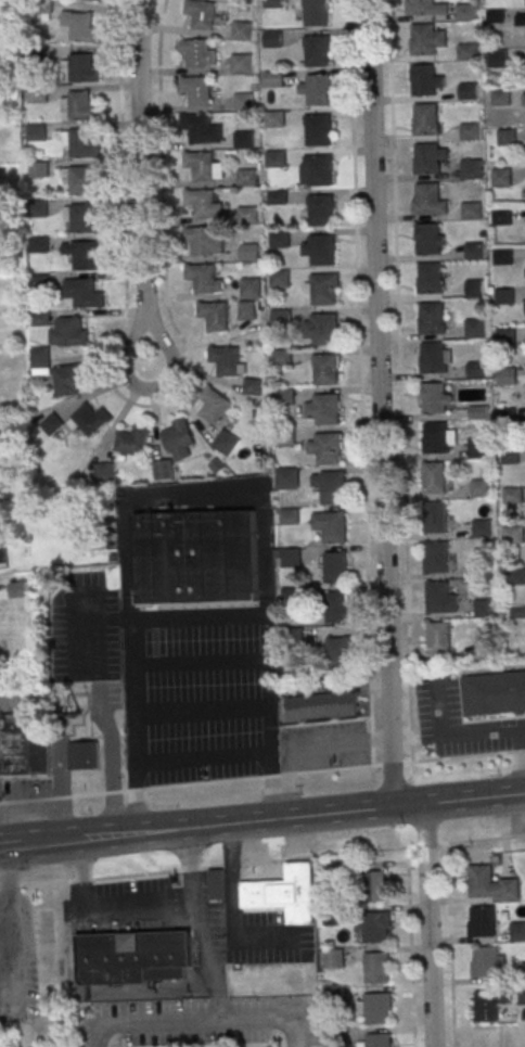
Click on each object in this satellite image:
building: (102, 0)
building: (242, 1)
building: (524, 2)
building: (272, 4)
building: (42, 7)
building: (425, 8)
building: (465, 12)
building: (316, 13)
building: (201, 14)
building: (495, 16)
building: (520, 18)
building: (82, 28)
building: (241, 31)
building: (427, 39)
building: (272, 40)
building: (317, 51)
building: (468, 52)
building: (36, 53)
building: (195, 53)
building: (497, 59)
building: (241, 65)
building: (82, 68)
building: (273, 80)
building: (425, 80)
building: (318, 89)
building: (196, 90)
building: (468, 91)
building: (37, 94)
building: (500, 98)
building: (243, 102)
building: (81, 106)
building: (276, 119)
building: (425, 119)
building: (202, 130)
building: (319, 130)
building: (470, 131)
building: (35, 133)
building: (5, 137)
building: (507, 138)
building: (244, 140)
building: (82, 144)
road: (140, 157)
building: (428, 157)
building: (277, 159)
building: (200, 166)
building: (38, 169)
building: (471, 169)
building: (317, 170)
building: (246, 178)
building: (500, 178)
building: (84, 181)
road: (162, 181)
building: (278, 197)
building: (430, 200)
building: (202, 203)
building: (38, 209)
building: (321, 210)
building: (470, 212)
building: (247, 216)
building: (501, 217)
building: (84, 219)
building: (281, 239)
building: (428, 239)
building: (205, 241)
building: (38, 245)
building: (322, 250)
building: (473, 251)
road: (124, 253)
building: (249, 253)
building: (86, 256)
building: (501, 256)
building: (202, 278)
building: (430, 278)
building: (280, 279)
building: (39, 283)
building: (251, 288)
building: (473, 289)
building: (323, 290)
building: (82, 292)
building: (503, 296)
building: (247, 309)
building: (214, 316)
building: (431, 318)
building: (41, 319)
building: (282, 319)
building: (324, 329)
building: (474, 329)
building: (69, 333)
building: (504, 337)
road: (148, 340)
building: (41, 358)
building: (432, 358)
building: (282, 359)
building: (226, 361)
building: (325, 370)
building: (476, 370)
building: (505, 376)
building: (71, 379)
road: (399, 381)
road: (359, 383)
building: (253, 386)
building: (284, 398)
building: (435, 398)
road: (379, 404)
building: (214, 405)
building: (326, 408)
building: (476, 412)
building: (505, 417)
building: (91, 419)
building: (52, 424)
building: (285, 437)
building: (435, 438)
building: (179, 439)
building: (132, 440)
building: (226, 444)
building: (477, 448)
building: (329, 449)
building: (509, 456)
building: (163, 470)
building: (104, 473)
building: (286, 478)
building: (434, 478)
building: (332, 487)
building: (479, 489)
road: (189, 494)
building: (512, 496)
building: (289, 518)
building: (435, 518)
building: (330, 526)
building: (481, 528)
building: (513, 535)
building: (195, 558)
building: (290, 558)
building: (434, 558)
building: (335, 566)
building: (482, 570)
building: (515, 576)
building: (291, 598)
building: (435, 598)
building: (335, 608)
building: (482, 609)
building: (292, 638)
building: (437, 638)
building: (483, 651)
building: (336, 654)
building: (492, 693)
parking lot: (197, 694)
building: (322, 707)
parking lot: (458, 723)
road: (469, 723)
road: (468, 731)
building: (15, 745)
parking lot: (322, 746)
building: (40, 754)
building: (84, 755)
road: (262, 778)
road: (271, 818)
road: (465, 843)
road: (9, 844)
road: (302, 859)
building: (331, 879)
road: (5, 880)
building: (216, 883)
building: (490, 884)
building: (374, 886)
building: (284, 893)
road: (232, 906)
road: (143, 908)
building: (334, 917)
building: (483, 923)
road: (427, 924)
building: (375, 929)
building: (517, 932)
road: (203, 937)
road: (449, 946)
building: (132, 957)
building: (334, 960)
building: (484, 962)
building: (376, 969)
building: (523, 972)
road: (94, 991)
road: (216, 996)
building: (521, 996)
building: (335, 998)
building: (488, 1004)
building: (376, 1009)
road: (269, 1020)
road: (145, 1023)
building: (335, 1038)
building: (377, 1040)

